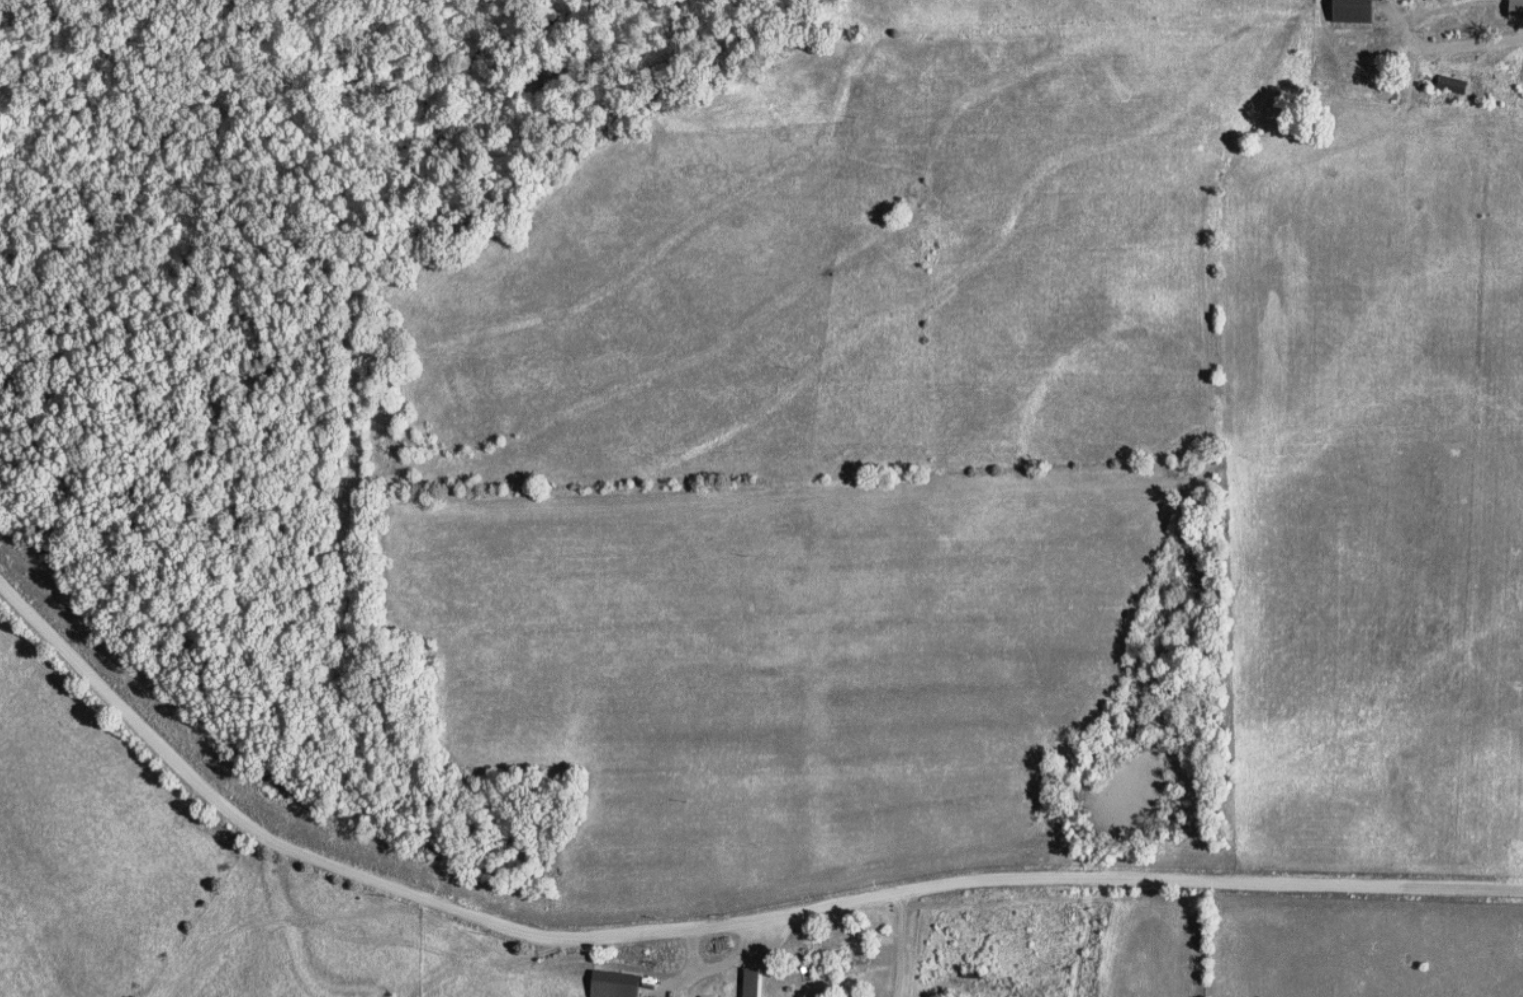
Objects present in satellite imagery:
building: (1514, 8)
building: (1348, 11)
road: (1449, 46)
road: (703, 929)
road: (379, 941)
road: (904, 944)
road: (720, 961)
building: (759, 981)
building: (620, 984)

